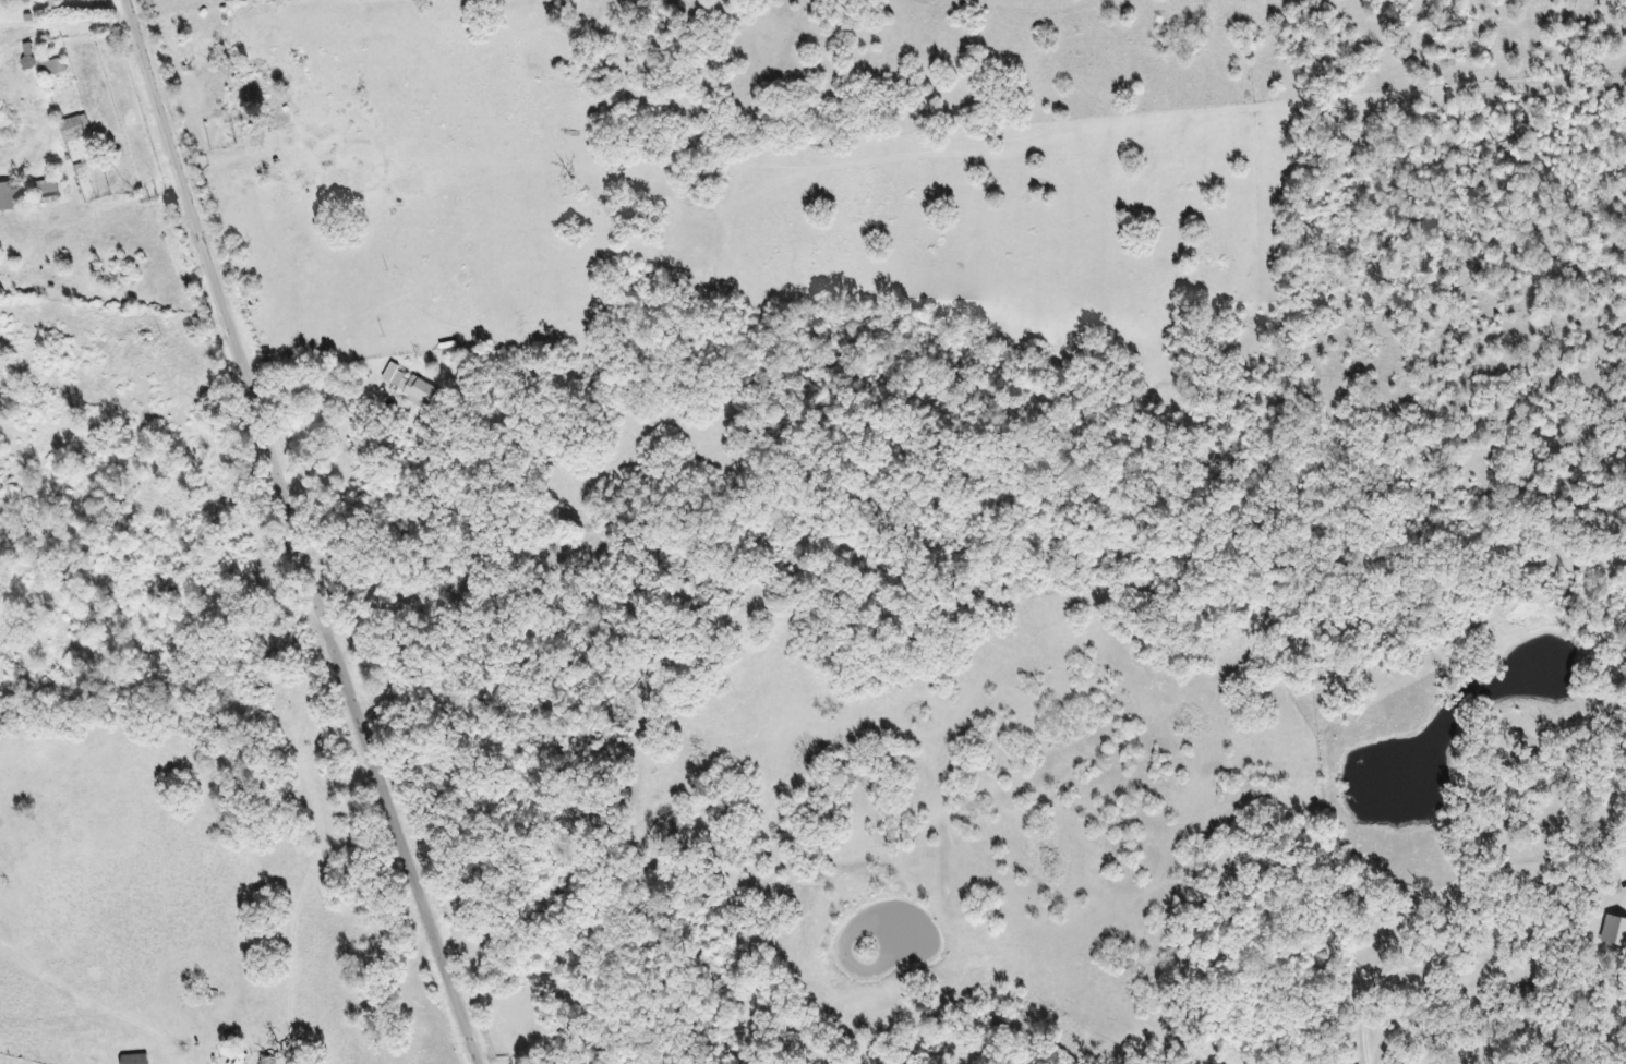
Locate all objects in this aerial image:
building: (49, 4)
building: (48, 65)
building: (70, 128)
building: (40, 185)
building: (8, 195)
building: (405, 385)
road: (302, 534)
park: (639, 568)
building: (1623, 892)
building: (1612, 930)
building: (1518, 993)
building: (130, 1059)

